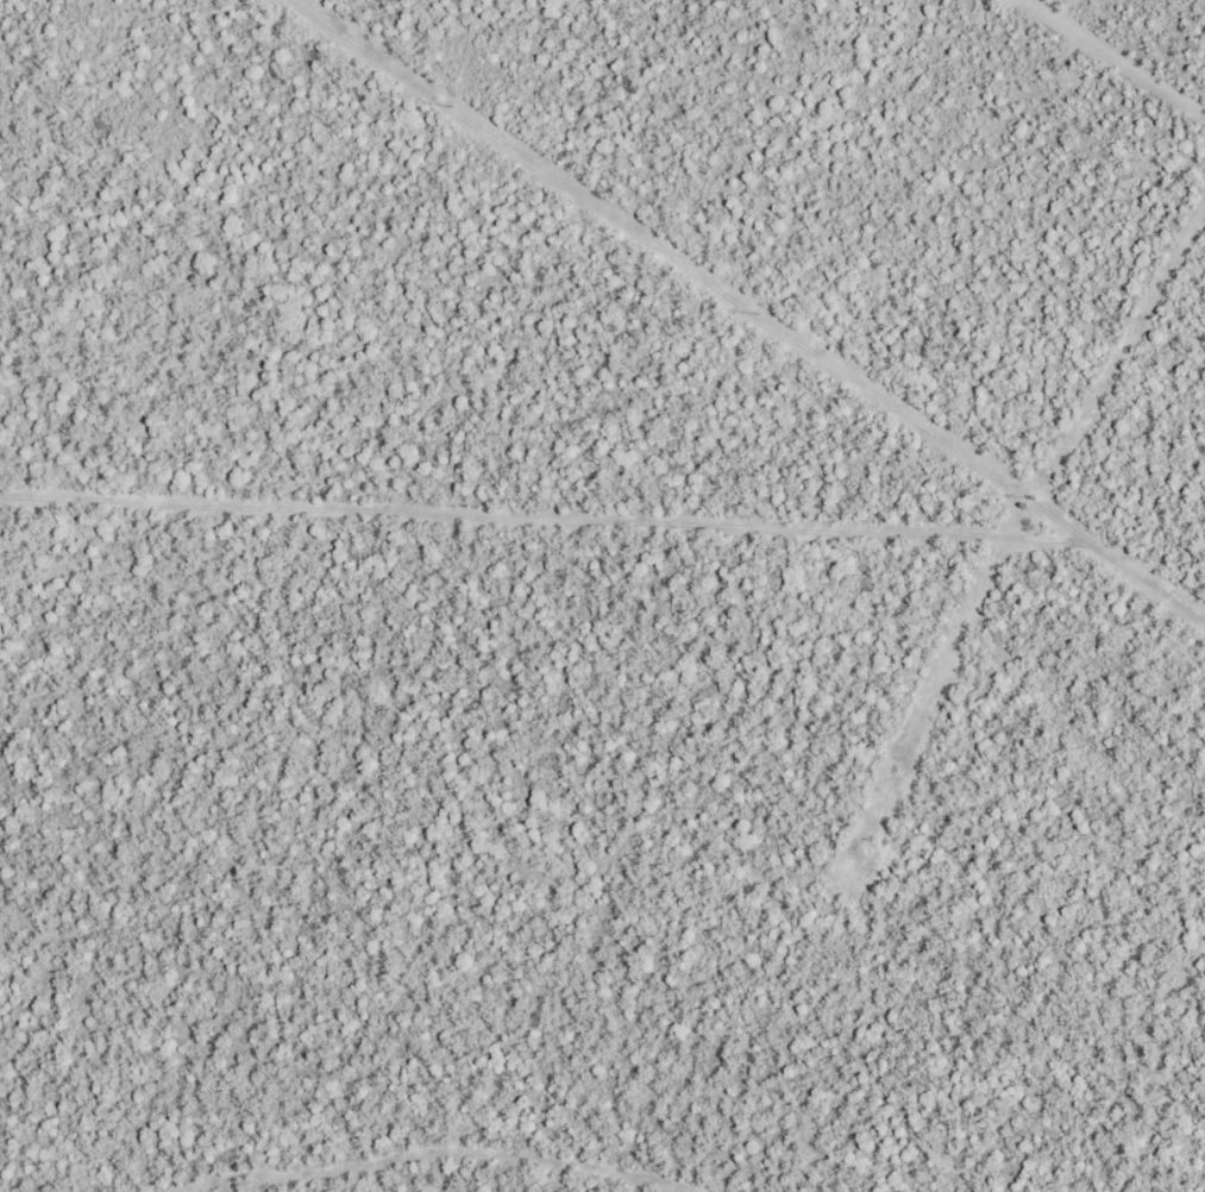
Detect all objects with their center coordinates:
power tower: (453, 105)
power tower: (759, 312)
power tower: (1046, 503)

